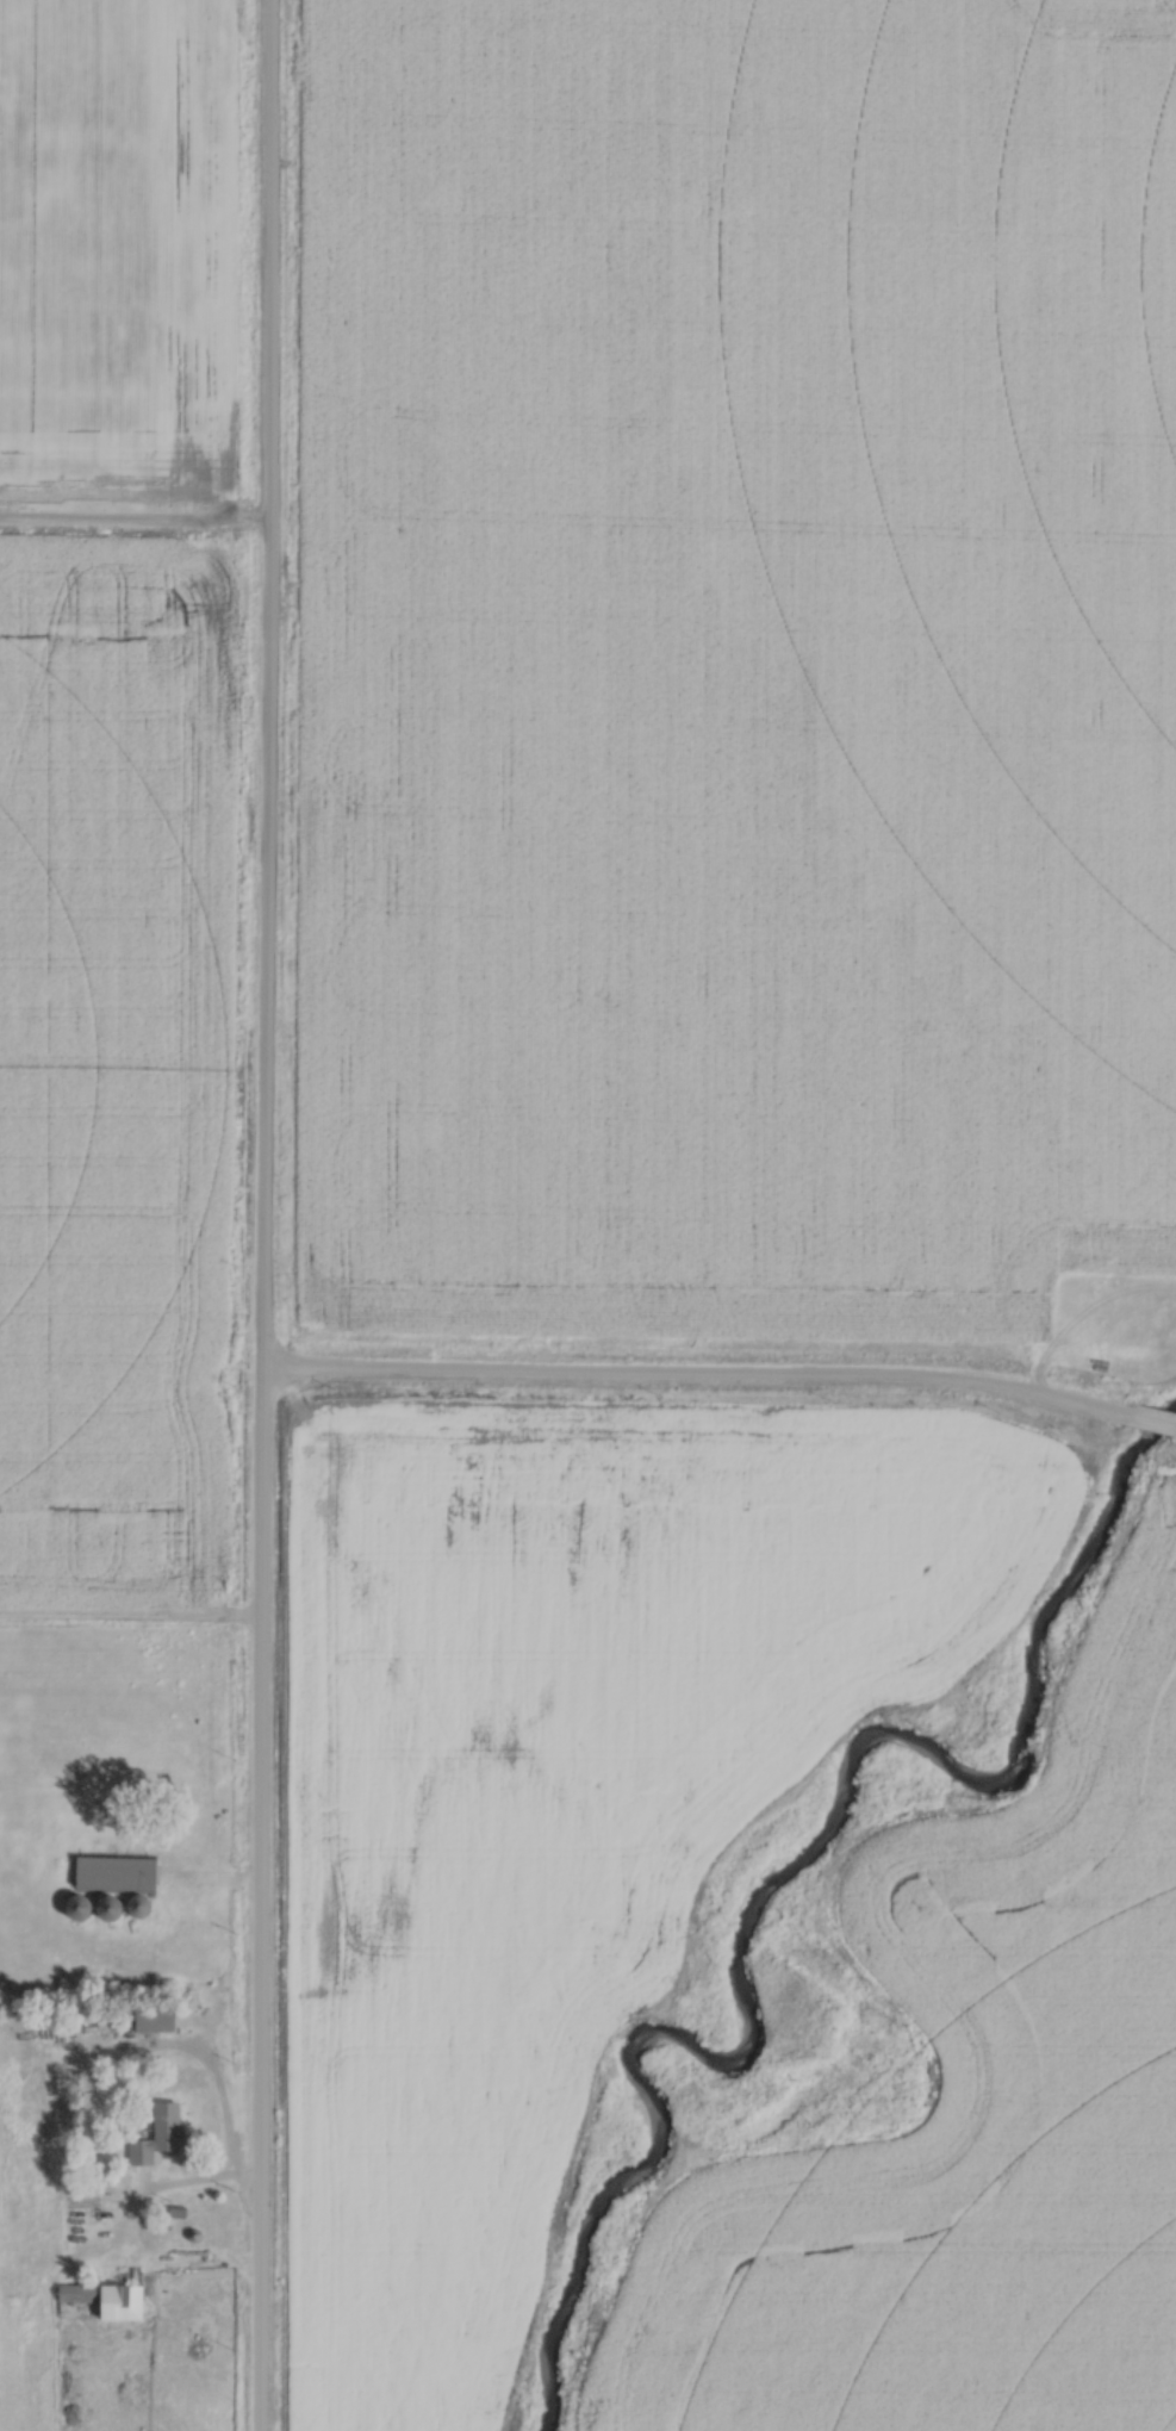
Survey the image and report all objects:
road: (267, 1214)
road: (703, 1378)
road: (1147, 1434)
road: (1169, 1441)
river: (783, 1874)
building: (118, 1883)
building: (80, 1905)
building: (156, 2016)
building: (160, 2132)
building: (101, 2299)

